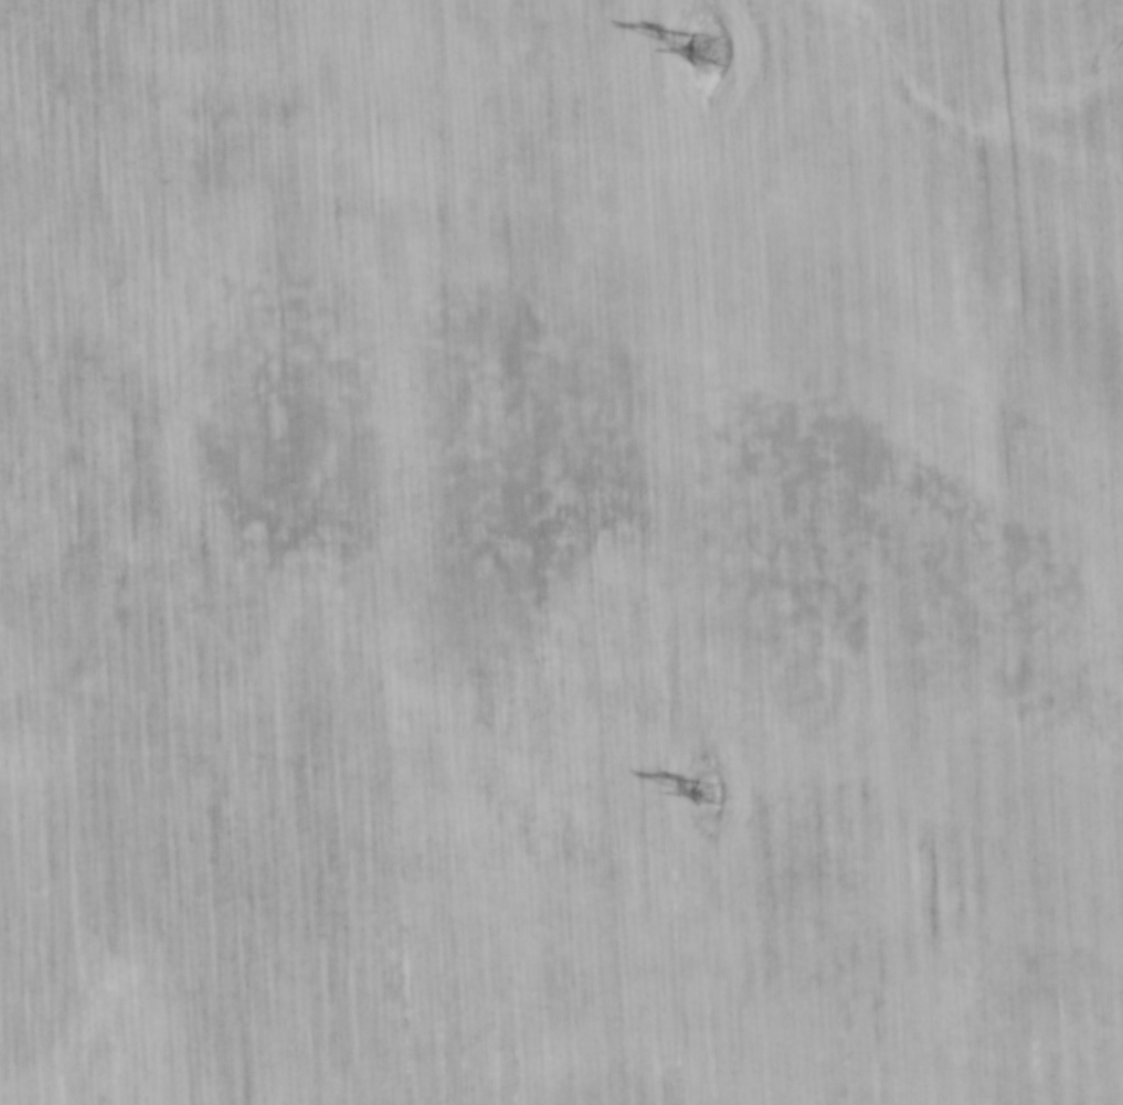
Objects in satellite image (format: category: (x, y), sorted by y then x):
power tower: (707, 50)
power tower: (708, 794)

